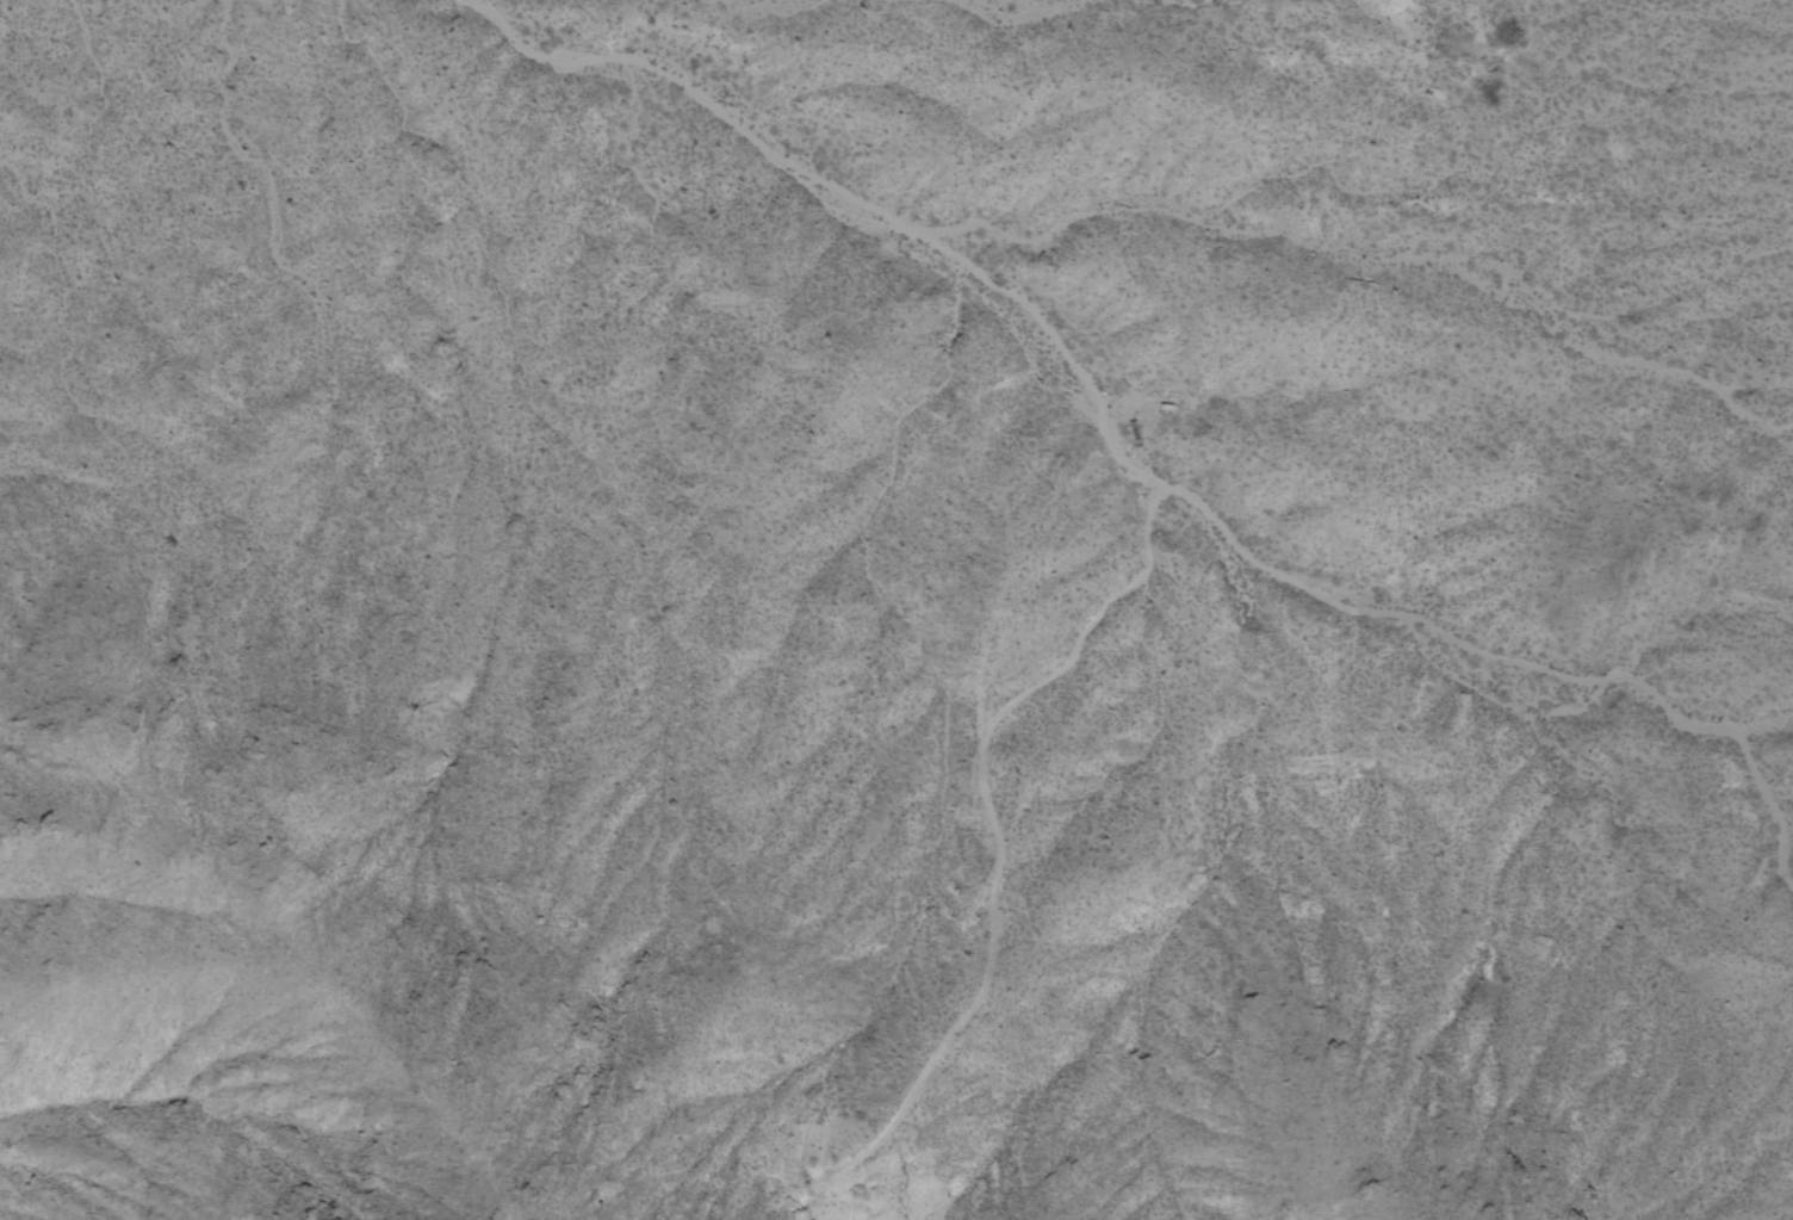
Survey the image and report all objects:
road: (1534, 669)

